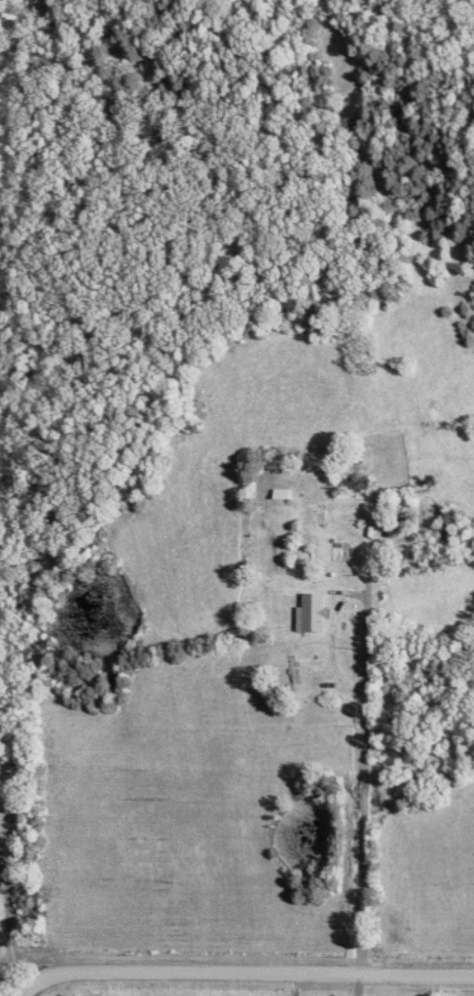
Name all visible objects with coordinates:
building: (317, 613)
road: (372, 780)
road: (15, 912)
road: (249, 967)

